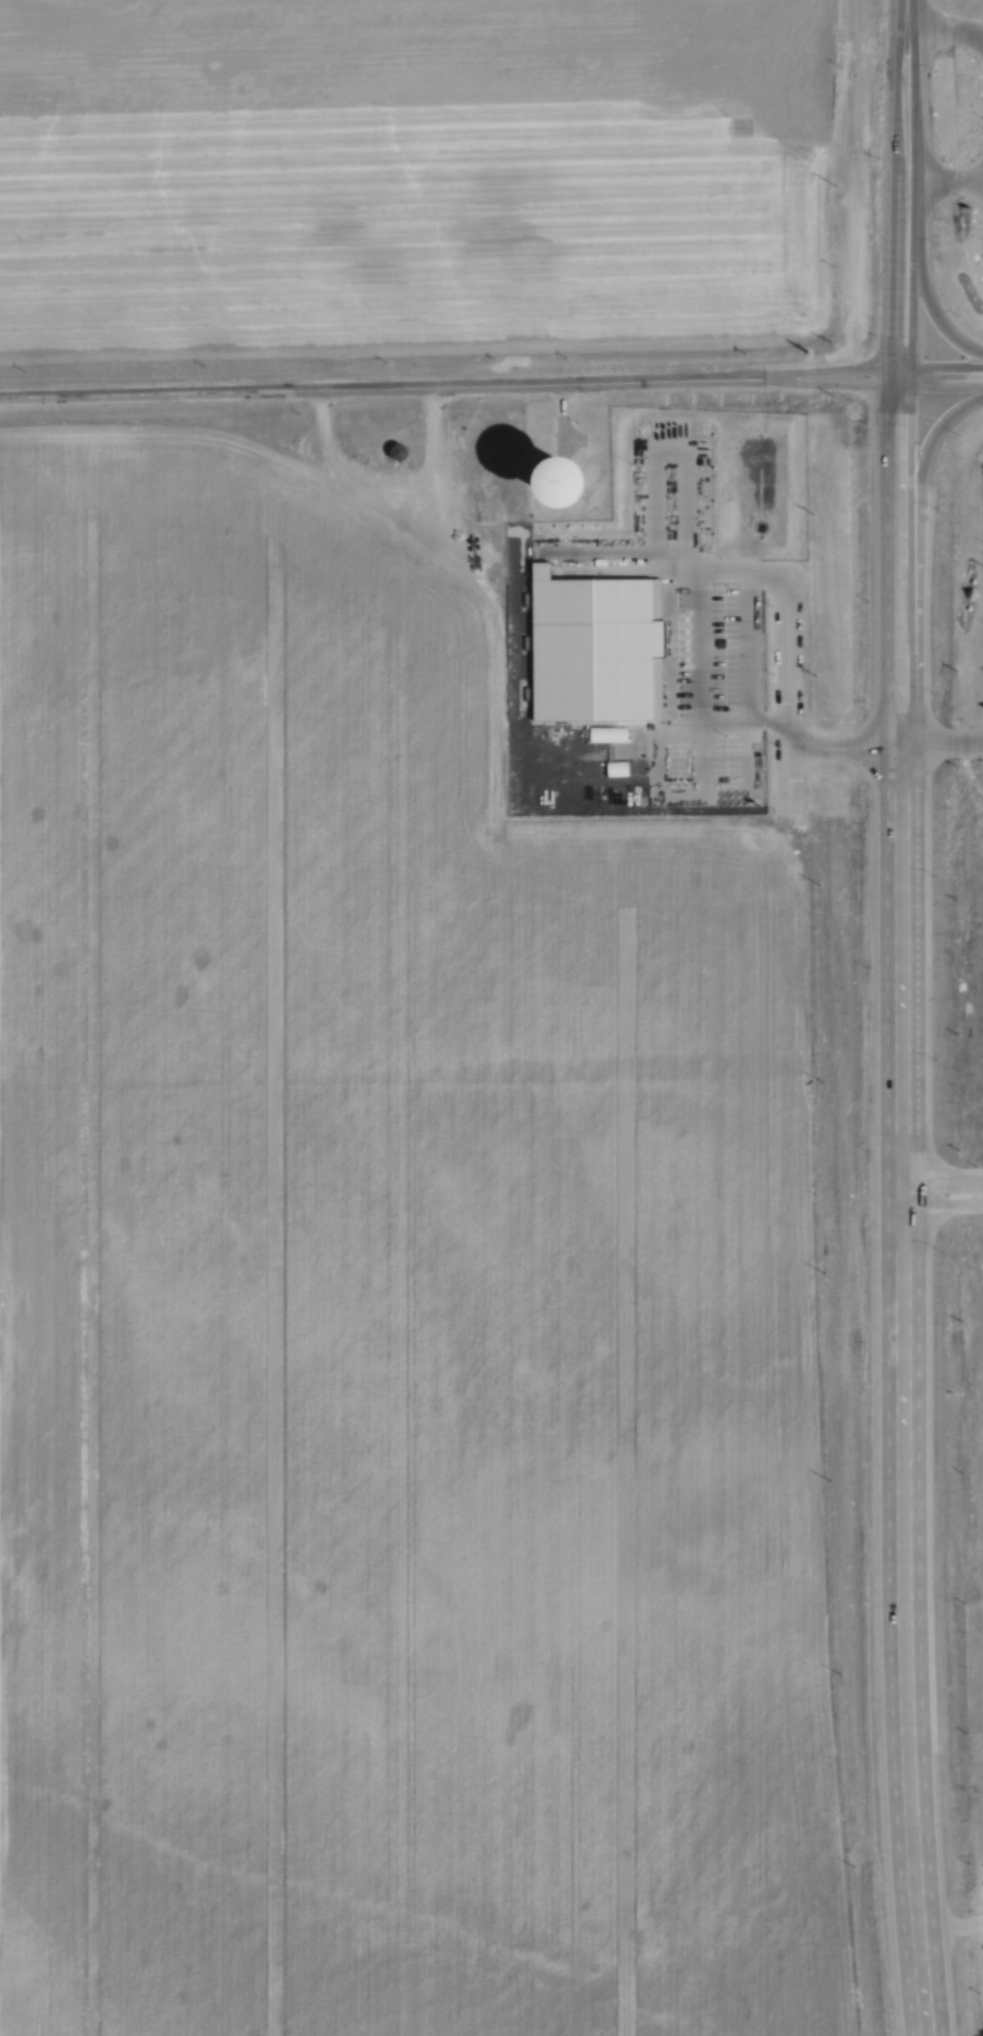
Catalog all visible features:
road: (914, 66)
street lamp: (935, 69)
road: (895, 85)
street lamp: (872, 156)
road: (916, 183)
street lamp: (937, 244)
road: (894, 271)
road: (914, 293)
road: (932, 298)
street lamp: (869, 333)
road: (938, 352)
road: (828, 356)
road: (913, 363)
road: (827, 370)
road: (937, 373)
road: (381, 375)
street lamp: (867, 420)
street lamp: (957, 433)
road: (926, 437)
building: (402, 451)
water tower: (560, 481)
building: (601, 485)
street lamp: (936, 509)
road: (888, 559)
road: (909, 559)
street lamp: (869, 598)
street lamp: (932, 685)
road: (941, 1176)
road: (942, 1207)
road: (901, 1391)
road: (952, 2010)

